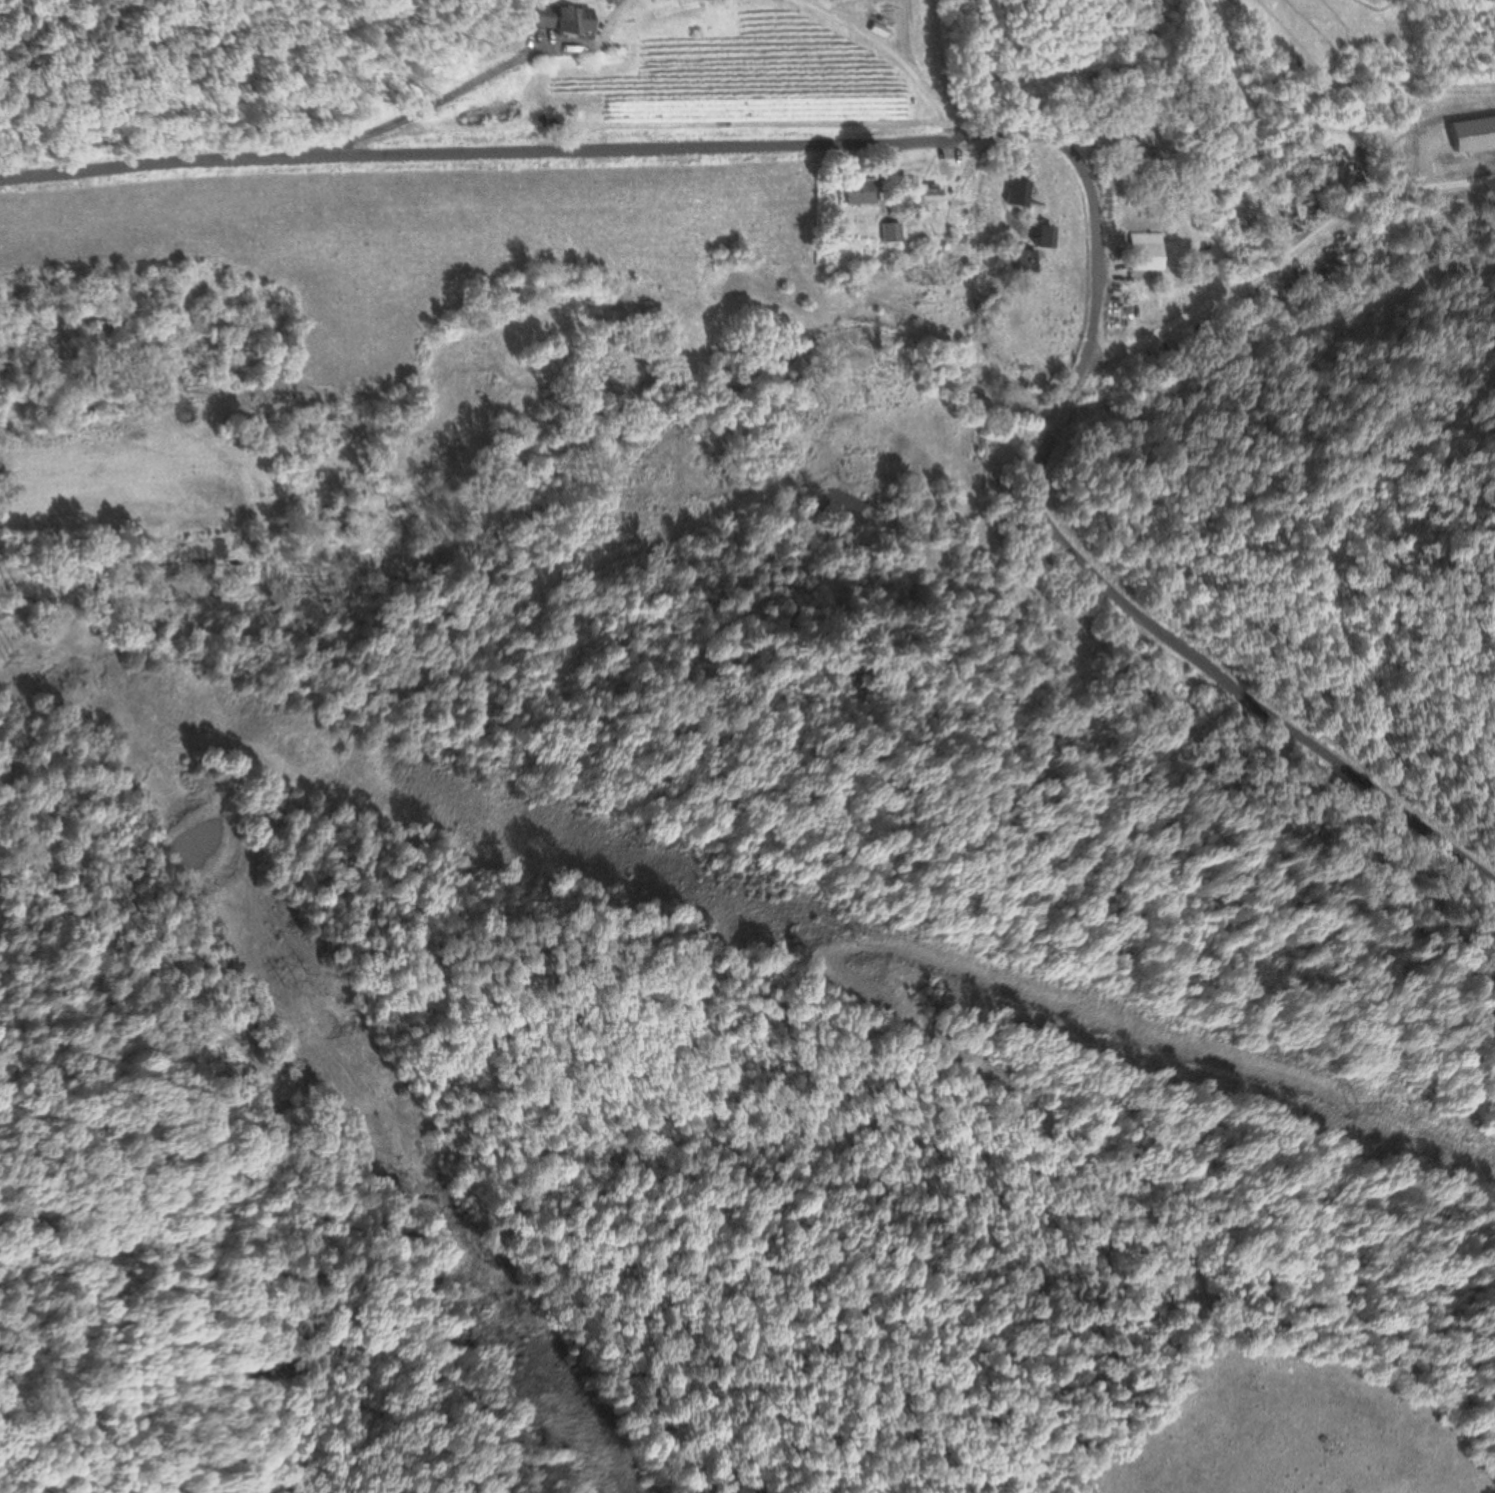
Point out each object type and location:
road: (894, 53)
road: (470, 80)
road: (1260, 130)
road: (1022, 132)
road: (1284, 256)
power tower: (7, 654)
power tower: (299, 981)
power tower: (1351, 1110)

